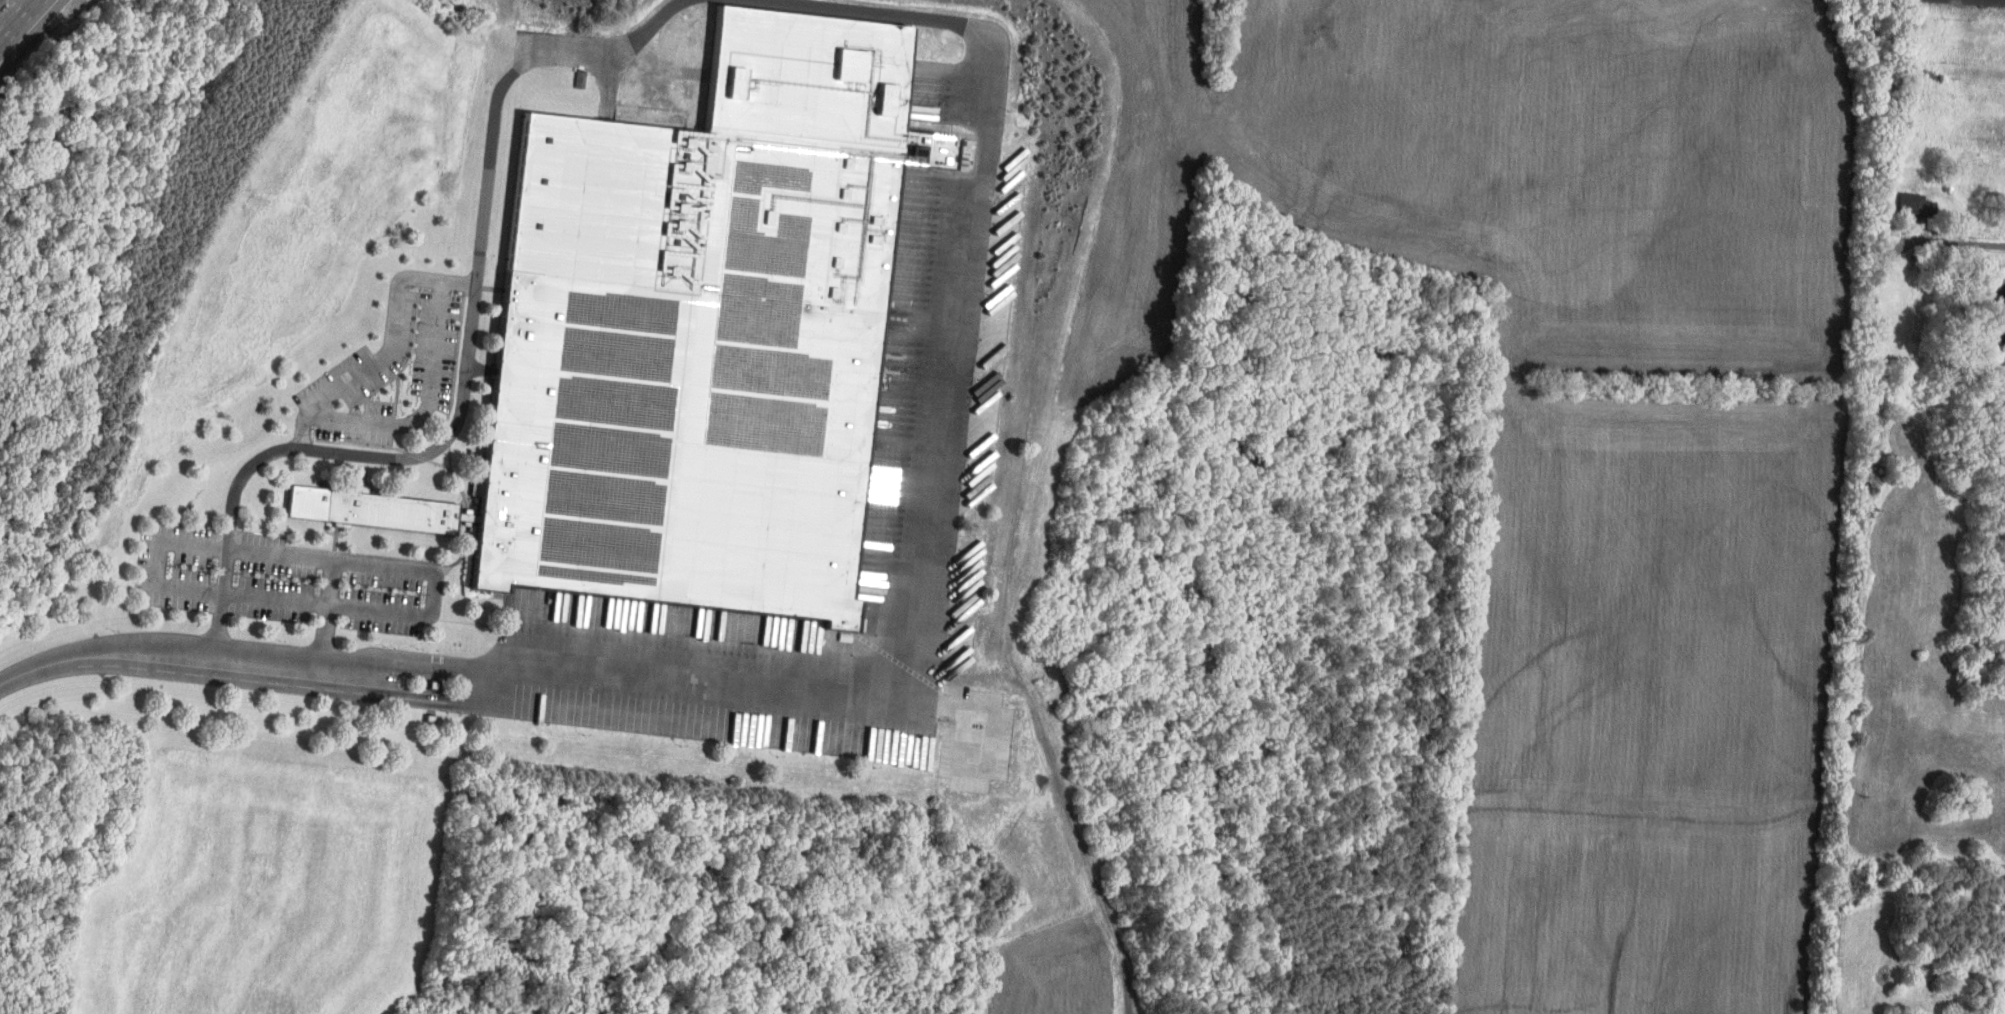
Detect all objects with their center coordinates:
road: (8, 9)
road: (11, 14)
building: (1909, 204)
road: (473, 303)
building: (695, 328)
road: (391, 347)
building: (365, 508)
road: (367, 565)
road: (1859, 574)
road: (919, 588)
road: (325, 634)
road: (134, 653)

